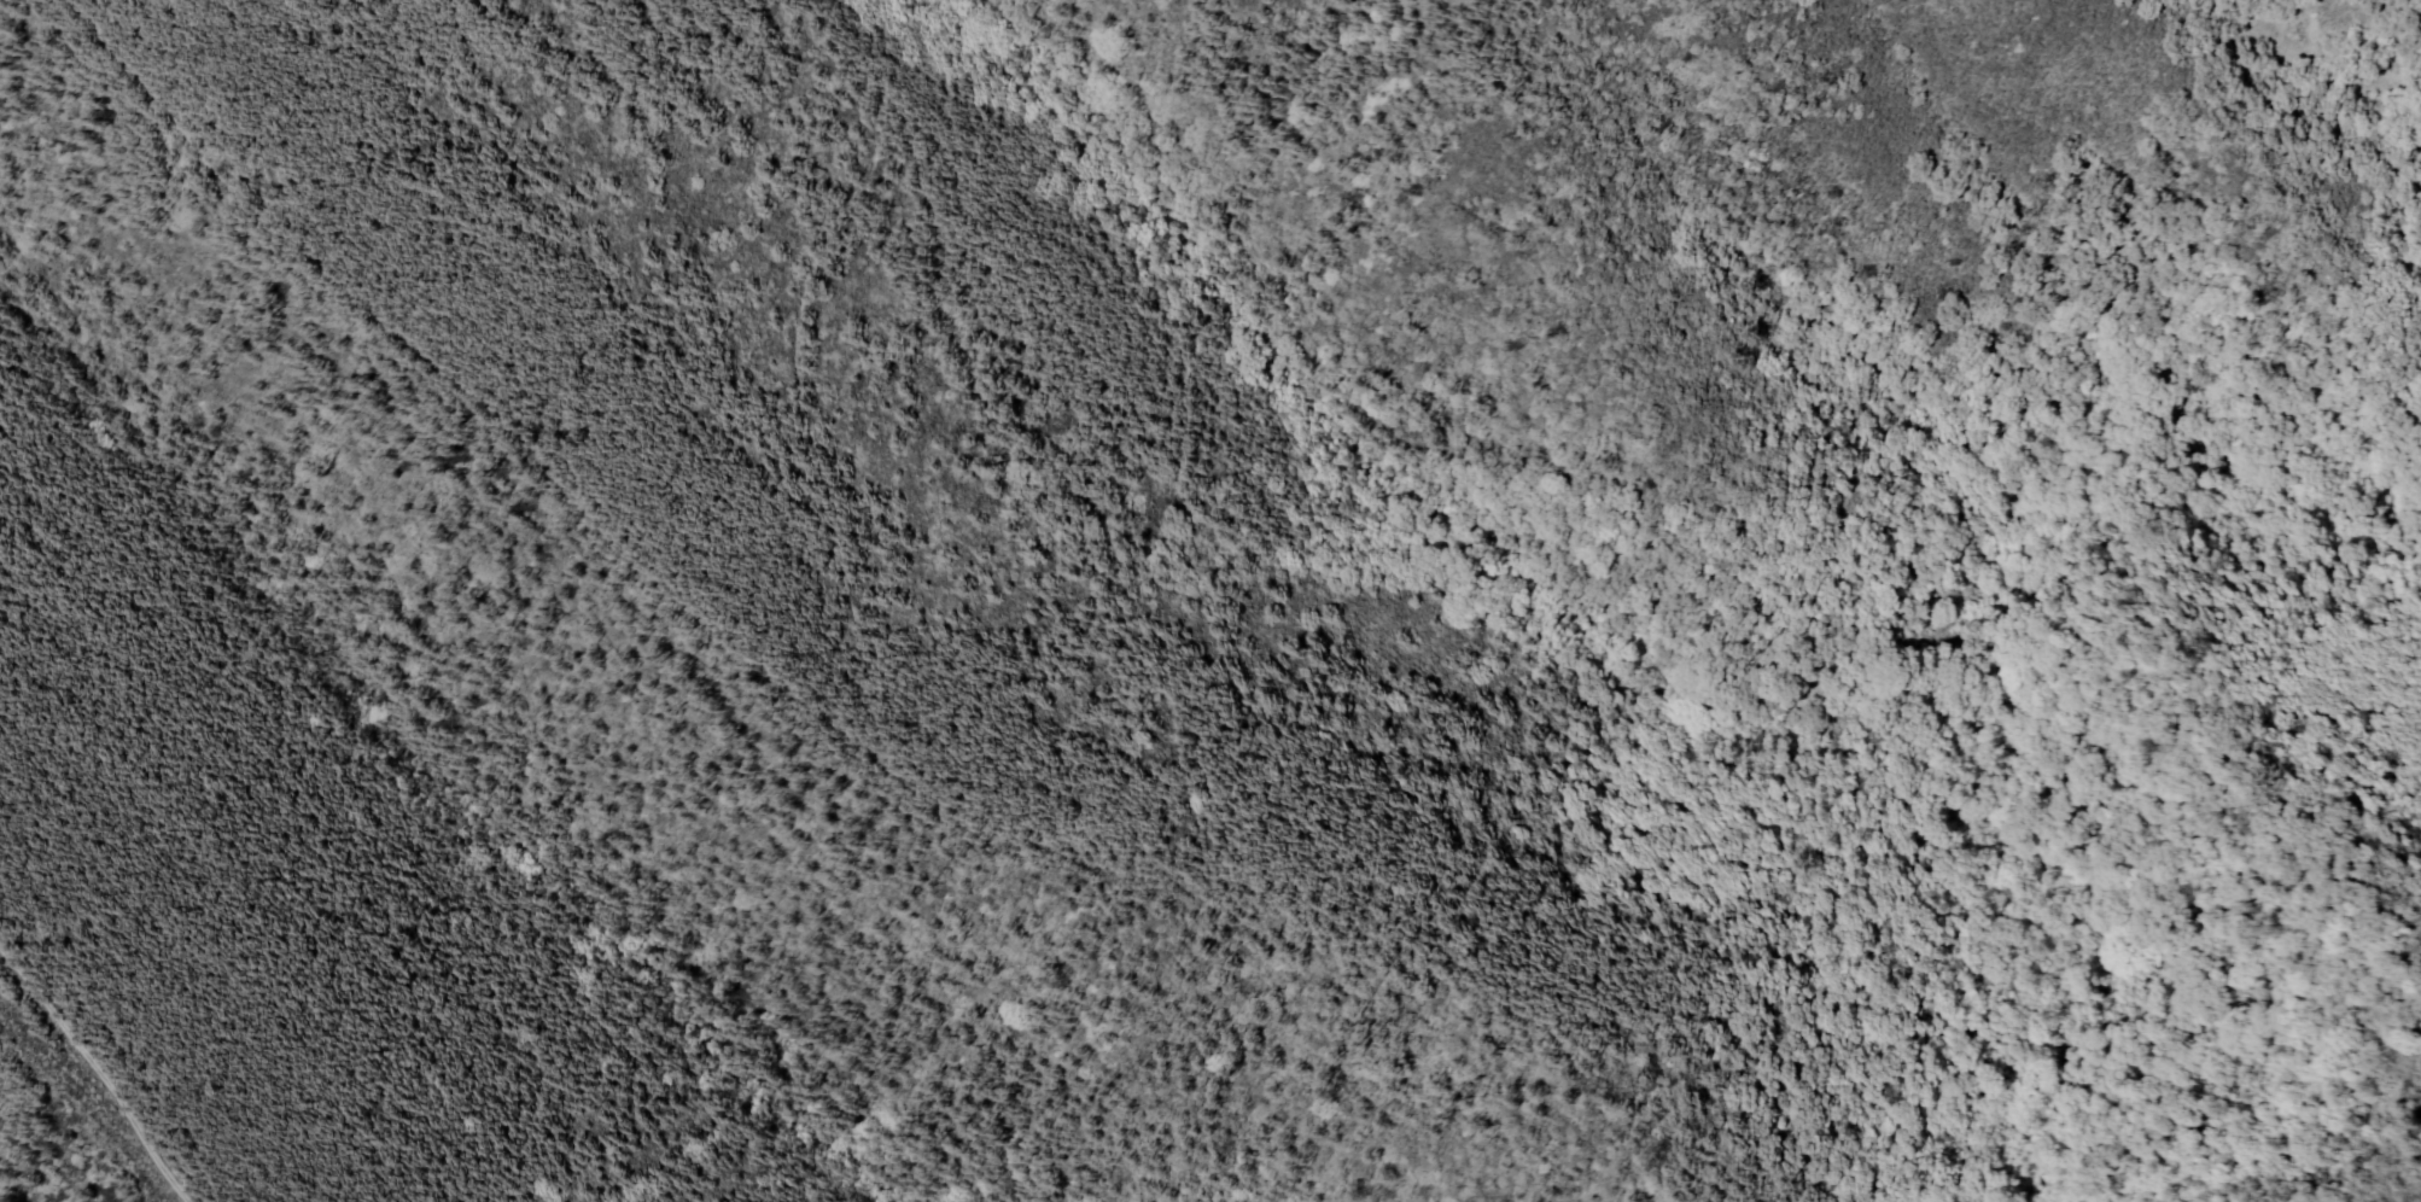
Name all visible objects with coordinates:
road: (1063, 525)
road: (98, 1075)

